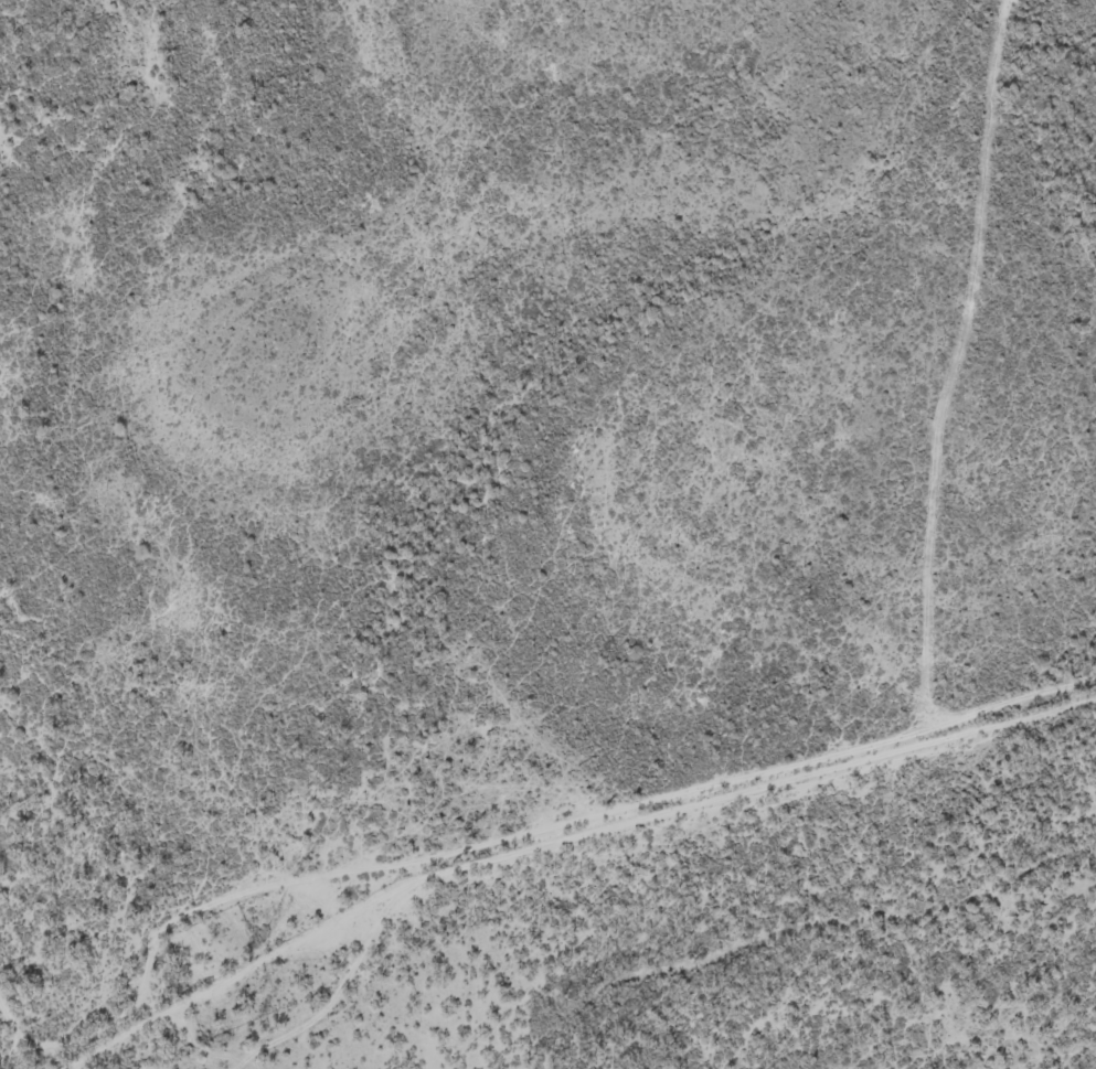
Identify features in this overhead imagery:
road: (13, 1034)
road: (258, 1068)

